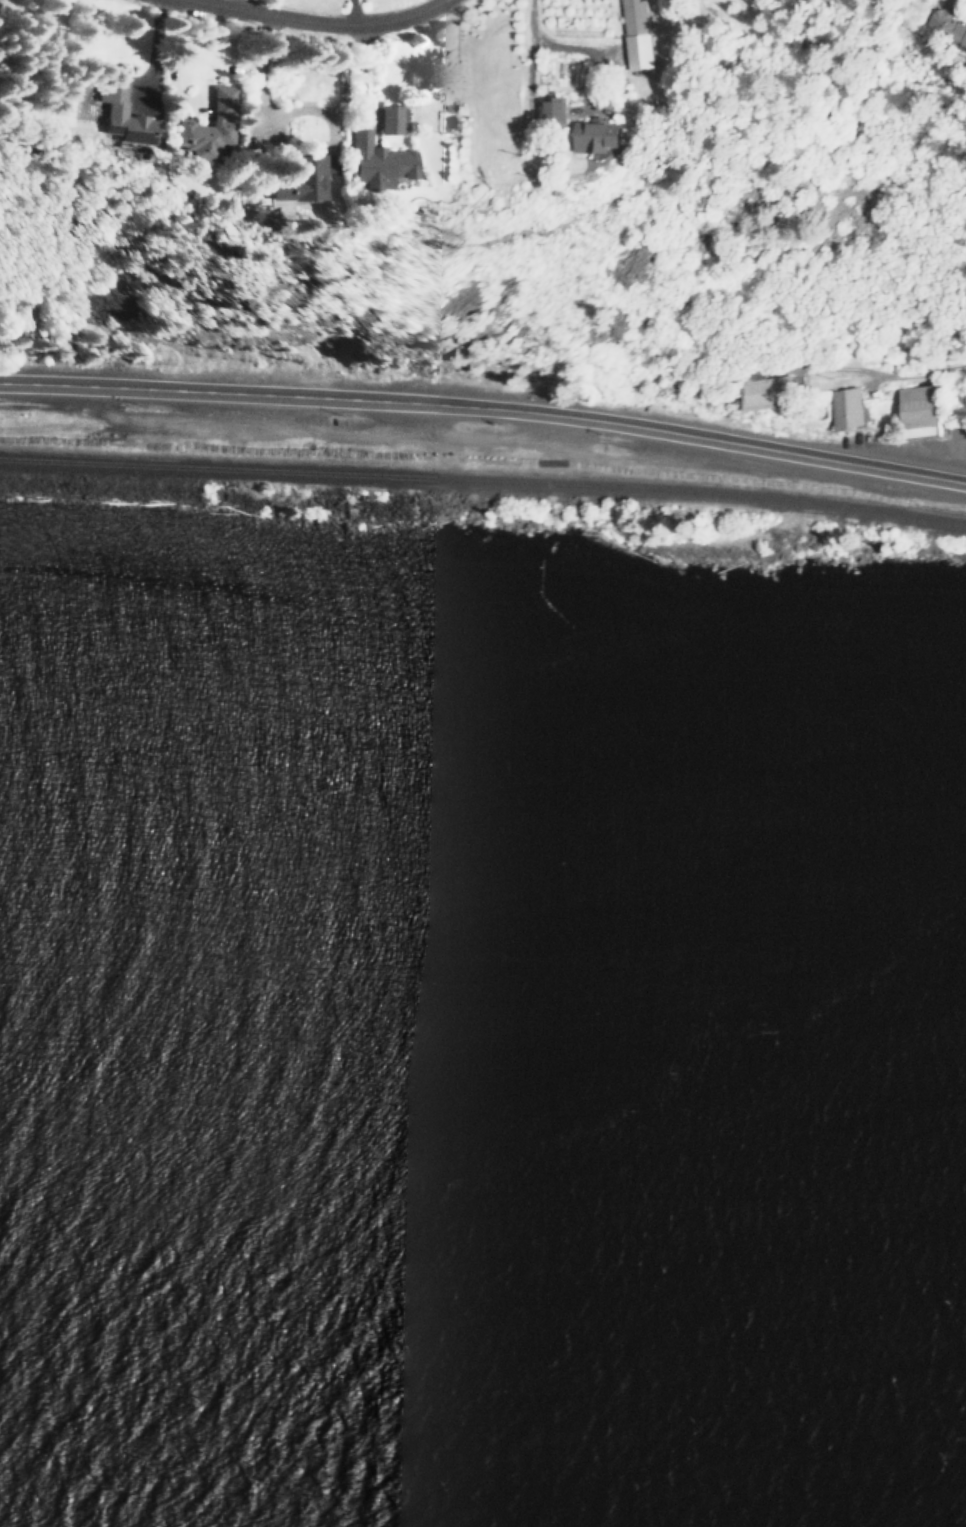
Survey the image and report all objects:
road: (320, 22)
building: (299, 179)
road: (900, 365)
road: (257, 393)
building: (766, 393)
building: (846, 407)
building: (917, 410)
road: (957, 423)
road: (740, 444)
railway: (483, 480)

